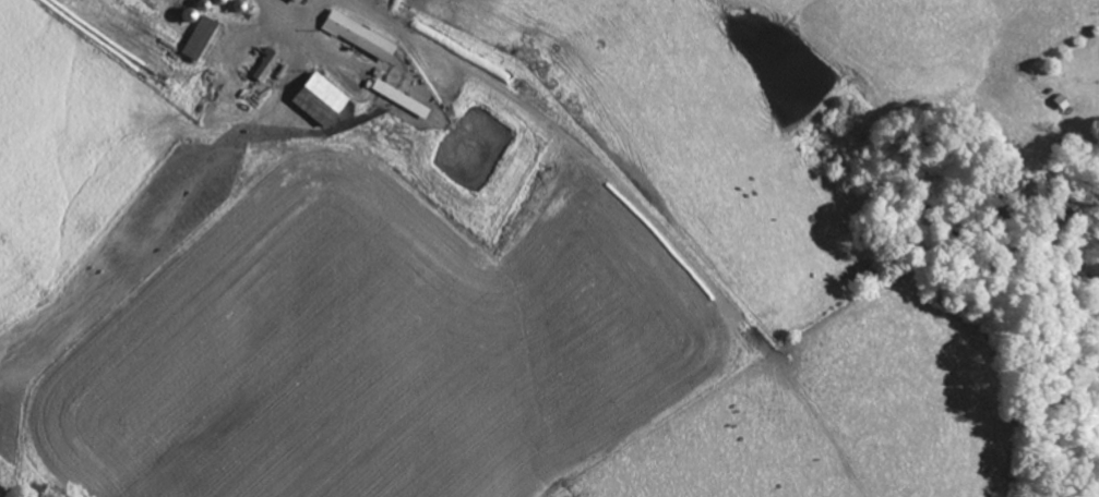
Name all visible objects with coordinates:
building: (296, 1)
building: (357, 36)
building: (200, 39)
building: (258, 82)
building: (398, 98)
building: (316, 99)
road: (117, 248)

